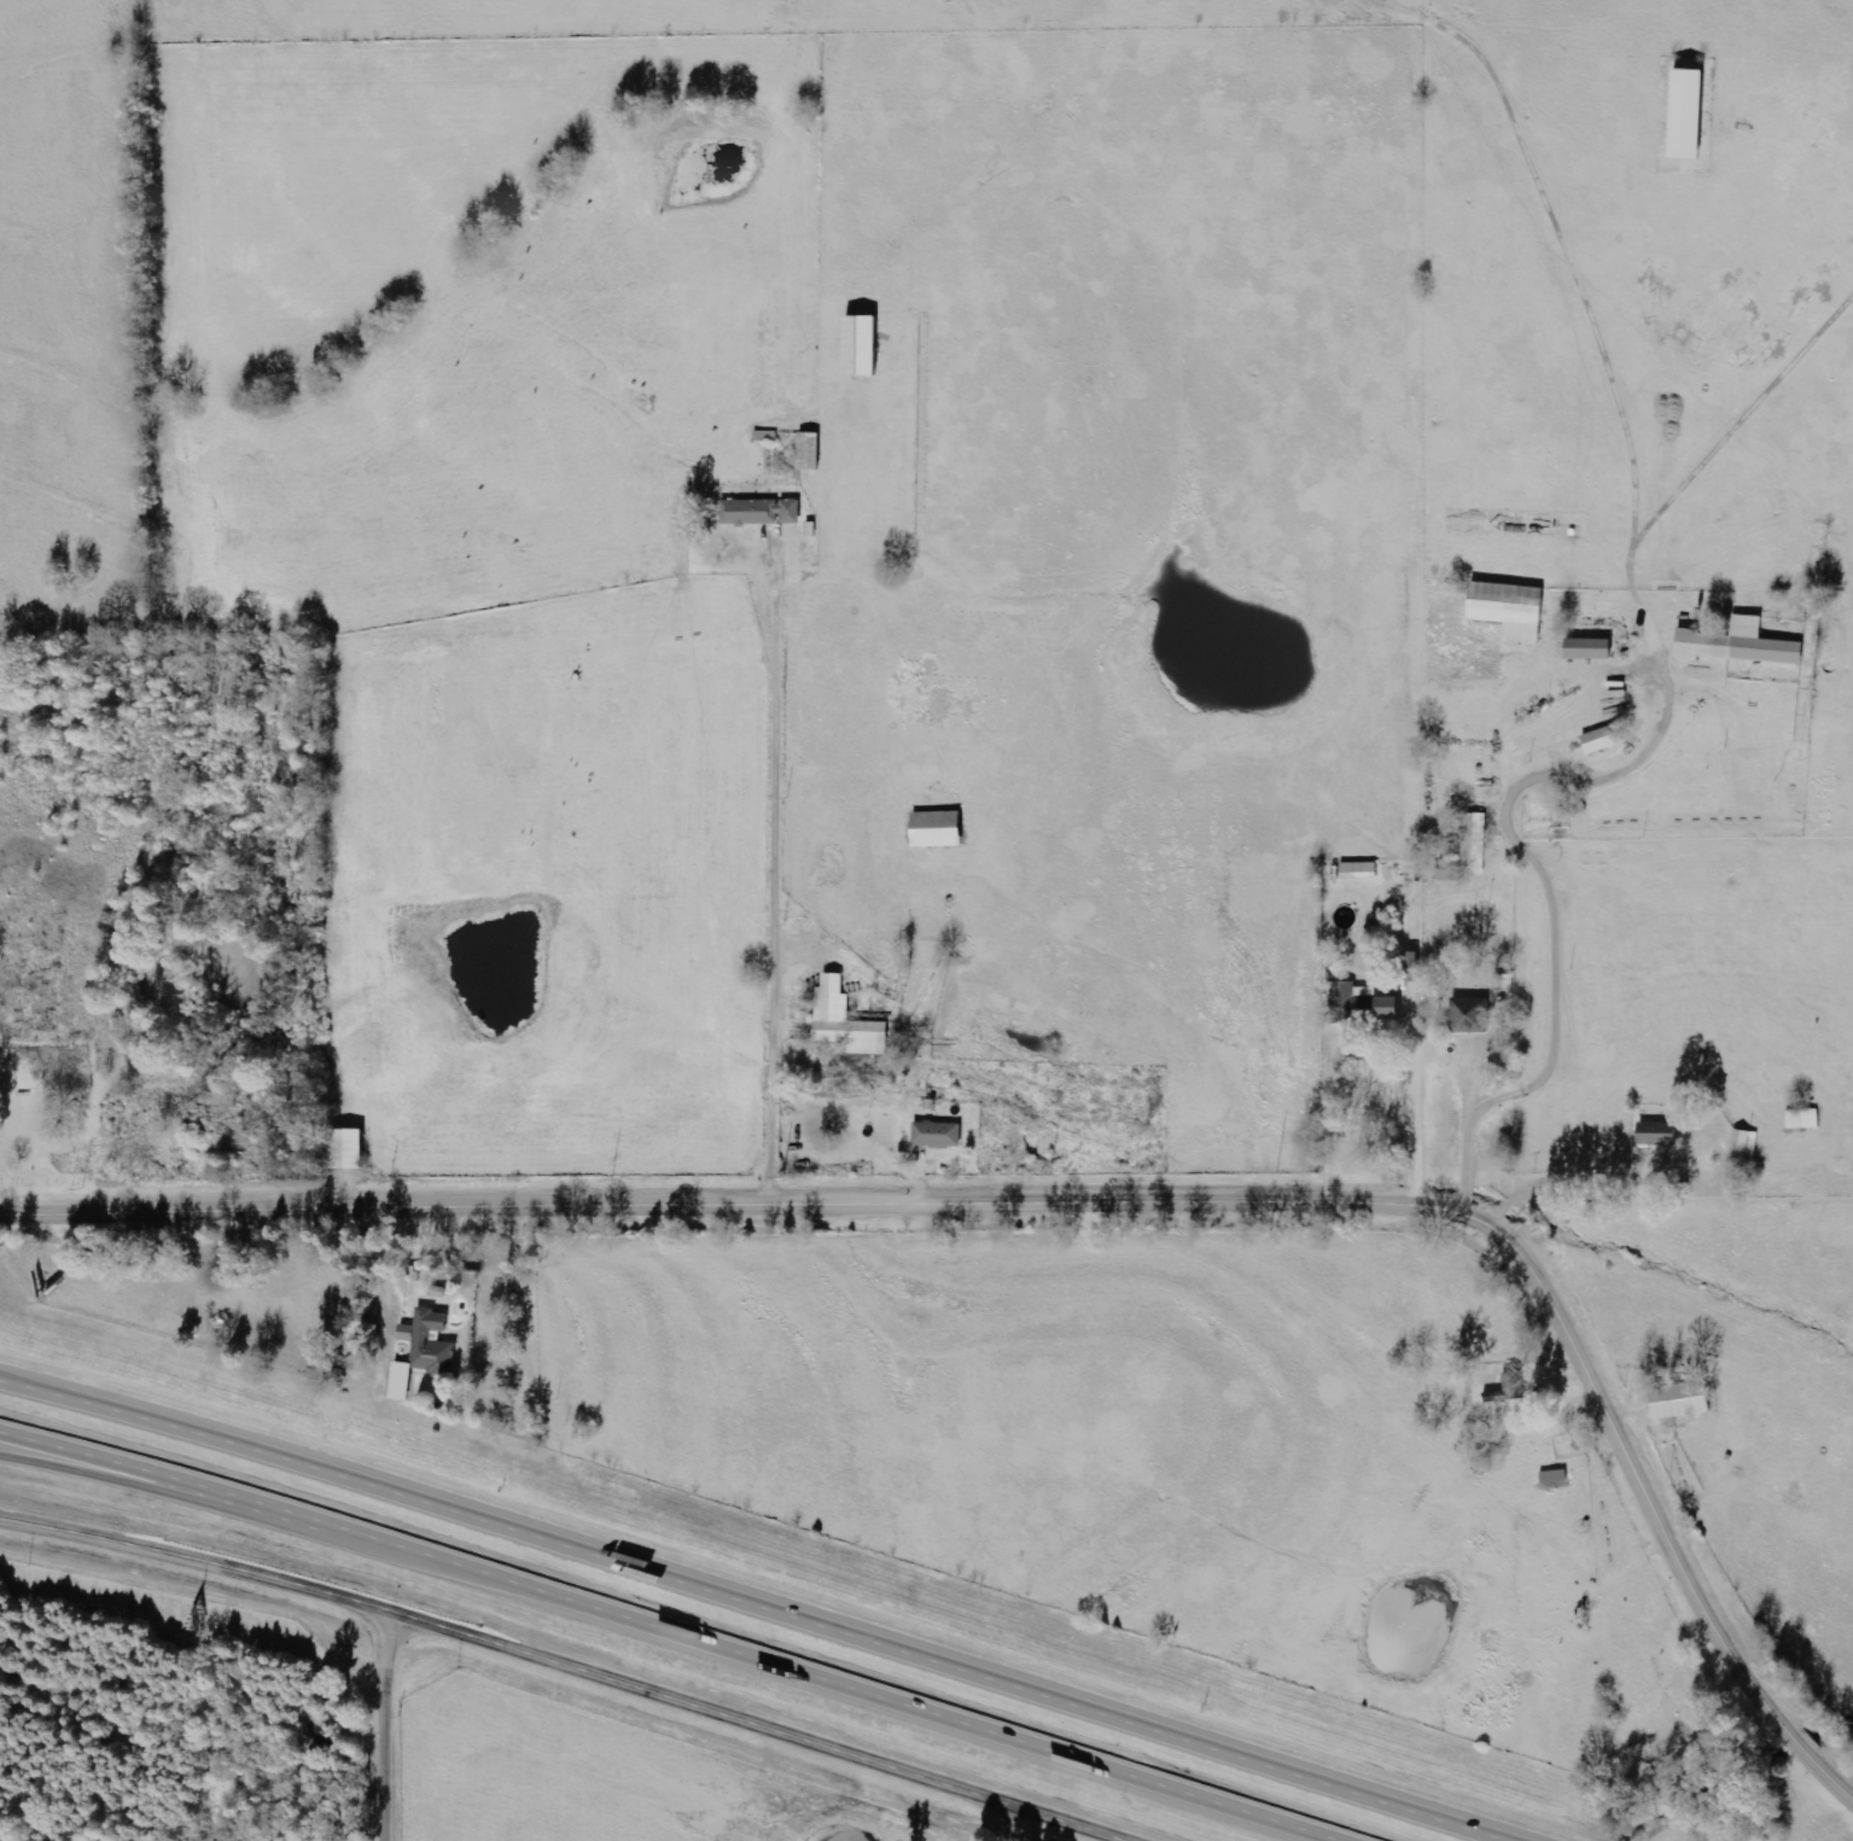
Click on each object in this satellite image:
building: (1686, 113)
building: (860, 345)
building: (809, 451)
building: (762, 512)
building: (1509, 608)
building: (1740, 643)
building: (1589, 648)
building: (1603, 739)
building: (937, 829)
building: (1468, 849)
building: (1359, 869)
building: (1412, 967)
building: (1365, 1002)
building: (1473, 1012)
building: (846, 1021)
road: (1383, 1031)
building: (1804, 1119)
building: (1656, 1134)
building: (938, 1135)
building: (348, 1149)
road: (1090, 1202)
road: (377, 1287)
building: (424, 1352)
road: (49, 1387)
building: (1509, 1390)
building: (1676, 1399)
road: (159, 1485)
road: (769, 1604)
road: (681, 1630)
road: (575, 1664)
road: (396, 1725)

